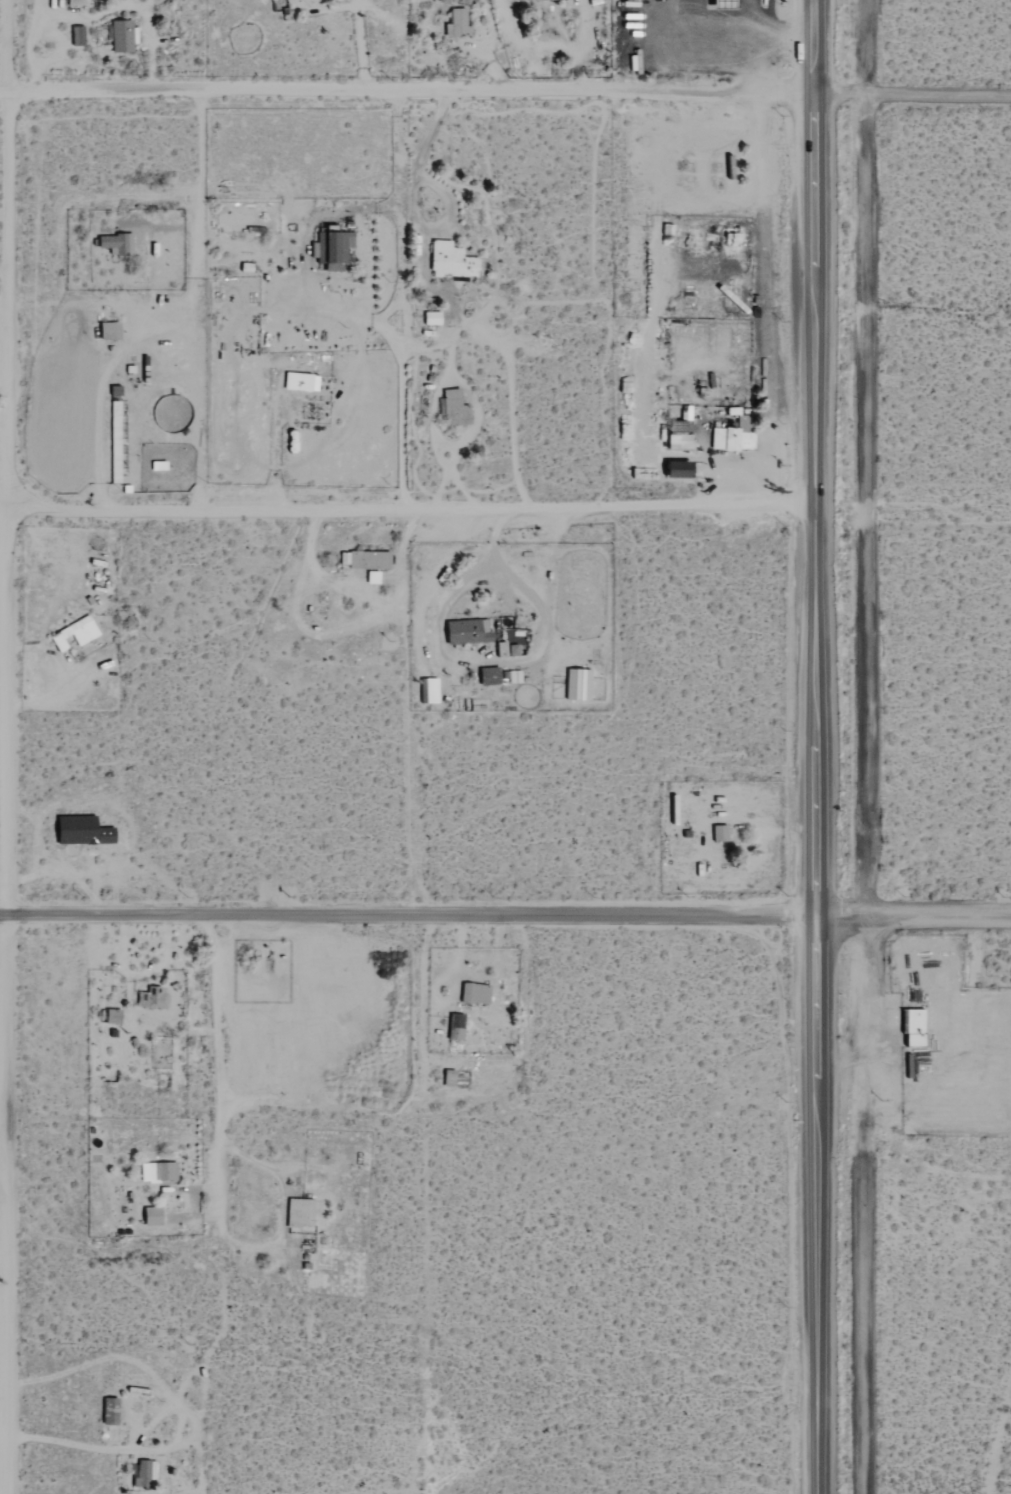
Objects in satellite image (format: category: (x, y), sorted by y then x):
building: (446, 0)
building: (535, 0)
building: (74, 2)
building: (721, 4)
gas station: (721, 4)
building: (457, 23)
road: (780, 27)
building: (76, 36)
building: (121, 36)
road: (407, 90)
road: (913, 92)
road: (4, 120)
building: (115, 243)
building: (450, 260)
building: (431, 317)
building: (108, 330)
building: (299, 381)
building: (454, 408)
building: (677, 435)
building: (729, 438)
road: (814, 459)
road: (872, 459)
building: (676, 468)
road: (407, 513)
building: (365, 559)
building: (466, 631)
building: (74, 632)
building: (488, 675)
building: (513, 676)
building: (576, 684)
building: (81, 829)
road: (408, 915)
road: (913, 919)
building: (474, 993)
building: (151, 997)
building: (112, 1015)
building: (913, 1027)
road: (209, 1079)
building: (158, 1171)
road: (1, 1204)
road: (814, 1206)
road: (870, 1206)
building: (151, 1216)

